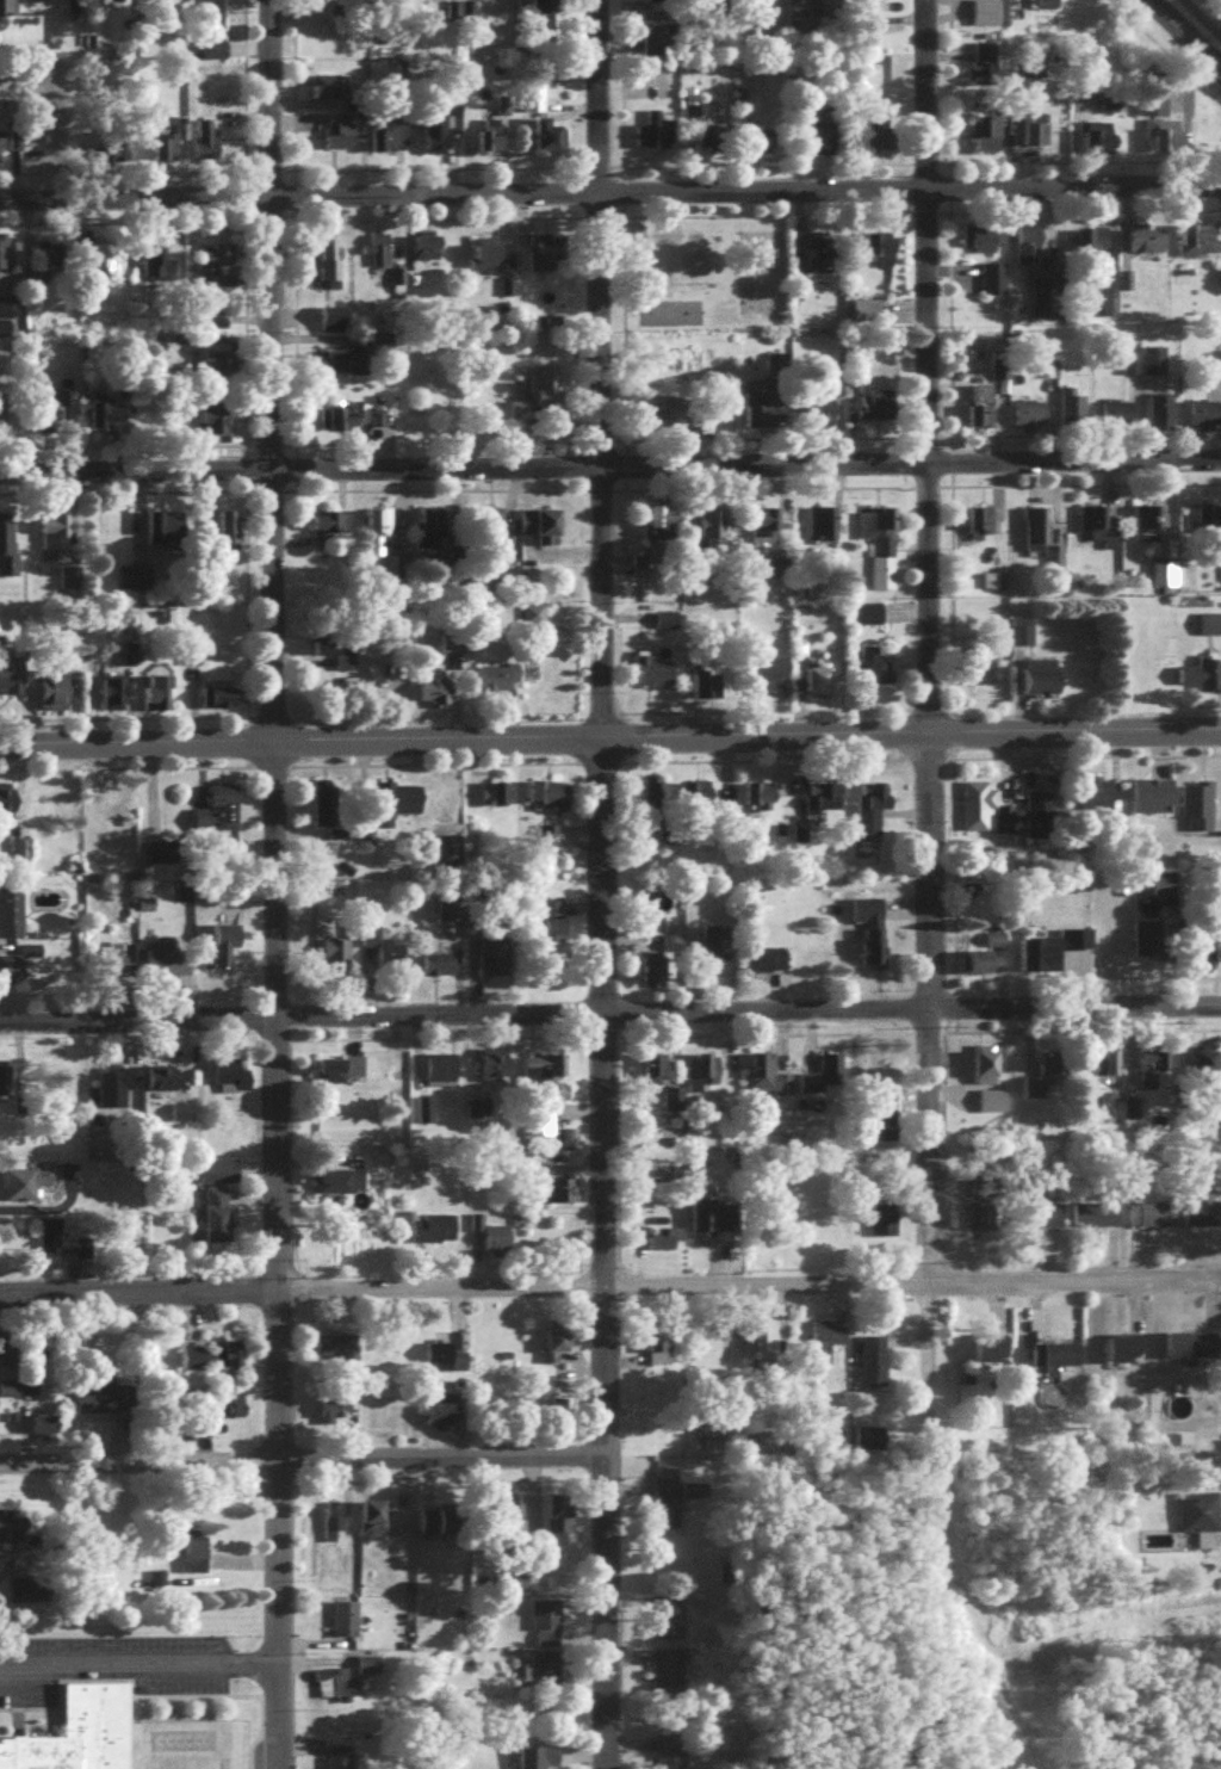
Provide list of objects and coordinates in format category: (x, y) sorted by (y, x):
building: (390, 1)
building: (657, 2)
building: (547, 6)
building: (1046, 7)
road: (1204, 14)
building: (18, 32)
road: (1180, 37)
building: (661, 44)
building: (986, 69)
building: (5, 91)
building: (327, 92)
building: (537, 104)
building: (1109, 110)
building: (1153, 111)
building: (740, 112)
building: (690, 122)
building: (444, 131)
building: (662, 134)
building: (988, 137)
building: (552, 138)
building: (339, 141)
building: (1109, 142)
building: (390, 143)
building: (717, 143)
building: (825, 143)
building: (492, 144)
building: (1160, 146)
building: (116, 147)
building: (207, 147)
building: (1, 153)
building: (169, 153)
road: (610, 193)
building: (1093, 243)
building: (1148, 245)
building: (983, 246)
building: (1200, 246)
building: (1029, 248)
building: (429, 252)
building: (4, 255)
building: (380, 255)
building: (880, 255)
building: (823, 258)
building: (48, 261)
building: (488, 264)
building: (215, 266)
building: (333, 266)
building: (110, 268)
building: (167, 276)
park: (705, 278)
building: (991, 285)
building: (507, 292)
building: (1047, 305)
building: (1101, 309)
building: (669, 318)
building: (7, 322)
building: (333, 324)
building: (213, 326)
building: (1154, 366)
building: (218, 375)
building: (538, 400)
building: (766, 408)
building: (58, 409)
building: (876, 410)
building: (984, 413)
building: (1074, 414)
building: (680, 415)
building: (823, 419)
building: (1160, 419)
building: (109, 421)
building: (1031, 421)
building: (1123, 421)
building: (1204, 421)
building: (345, 425)
building: (1, 426)
building: (218, 428)
road: (610, 468)
building: (1208, 525)
building: (429, 527)
building: (663, 528)
building: (1147, 531)
building: (1099, 532)
building: (327, 533)
building: (546, 533)
building: (712, 534)
building: (6, 536)
building: (173, 538)
building: (230, 538)
building: (55, 539)
building: (763, 539)
building: (1042, 543)
building: (384, 546)
building: (885, 564)
building: (8, 574)
building: (1165, 581)
building: (70, 584)
building: (135, 584)
building: (994, 588)
building: (867, 619)
building: (1210, 630)
building: (335, 655)
building: (998, 661)
building: (652, 676)
building: (822, 676)
building: (771, 678)
building: (874, 679)
building: (1201, 679)
building: (1043, 684)
building: (500, 685)
building: (12, 687)
building: (706, 689)
building: (54, 695)
building: (439, 698)
building: (116, 699)
building: (159, 699)
building: (223, 703)
road: (930, 734)
road: (610, 742)
building: (705, 796)
building: (1099, 800)
building: (657, 802)
building: (822, 802)
building: (1153, 802)
building: (758, 805)
building: (405, 806)
building: (8, 808)
building: (123, 809)
building: (326, 810)
building: (1198, 811)
building: (872, 814)
building: (219, 816)
building: (1004, 825)
building: (23, 854)
building: (446, 854)
road: (269, 884)
road: (600, 884)
building: (1166, 890)
building: (11, 917)
building: (867, 918)
building: (552, 921)
building: (1147, 945)
building: (994, 946)
building: (717, 950)
building: (224, 951)
building: (383, 954)
building: (873, 955)
building: (1050, 955)
building: (335, 958)
building: (497, 963)
building: (657, 965)
building: (767, 966)
building: (168, 969)
building: (984, 969)
building: (438, 970)
building: (11, 975)
road: (609, 1014)
building: (987, 1065)
building: (1208, 1074)
building: (544, 1075)
building: (657, 1075)
building: (340, 1076)
building: (1104, 1076)
building: (704, 1077)
building: (1152, 1077)
building: (440, 1080)
building: (230, 1082)
building: (766, 1082)
building: (163, 1085)
building: (118, 1093)
building: (423, 1117)
building: (181, 1119)
building: (884, 1126)
building: (540, 1134)
building: (217, 1177)
building: (339, 1188)
building: (27, 1189)
building: (563, 1198)
building: (1204, 1208)
building: (218, 1221)
building: (709, 1221)
building: (1041, 1221)
building: (1095, 1221)
building: (1151, 1221)
building: (983, 1225)
building: (886, 1227)
building: (433, 1236)
building: (494, 1242)
building: (51, 1248)
building: (663, 1252)
road: (610, 1288)
building: (826, 1343)
building: (557, 1349)
building: (1192, 1350)
building: (659, 1352)
building: (339, 1354)
building: (1122, 1354)
building: (991, 1355)
building: (7, 1356)
building: (228, 1360)
building: (873, 1360)
building: (1056, 1361)
building: (445, 1363)
building: (193, 1365)
building: (10, 1396)
building: (105, 1406)
building: (225, 1411)
building: (506, 1416)
building: (331, 1417)
building: (440, 1417)
building: (45, 1433)
road: (300, 1460)
building: (667, 1492)
building: (1201, 1516)
building: (374, 1527)
building: (454, 1527)
building: (558, 1527)
building: (333, 1528)
building: (16, 1534)
building: (196, 1560)
building: (668, 1623)
building: (546, 1629)
road: (134, 1659)
parking lot: (112, 1660)
building: (370, 1670)
building: (665, 1677)
building: (544, 1678)
building: (336, 1689)
building: (76, 1728)
building: (667, 1755)
building: (340, 1759)
building: (540, 1761)

